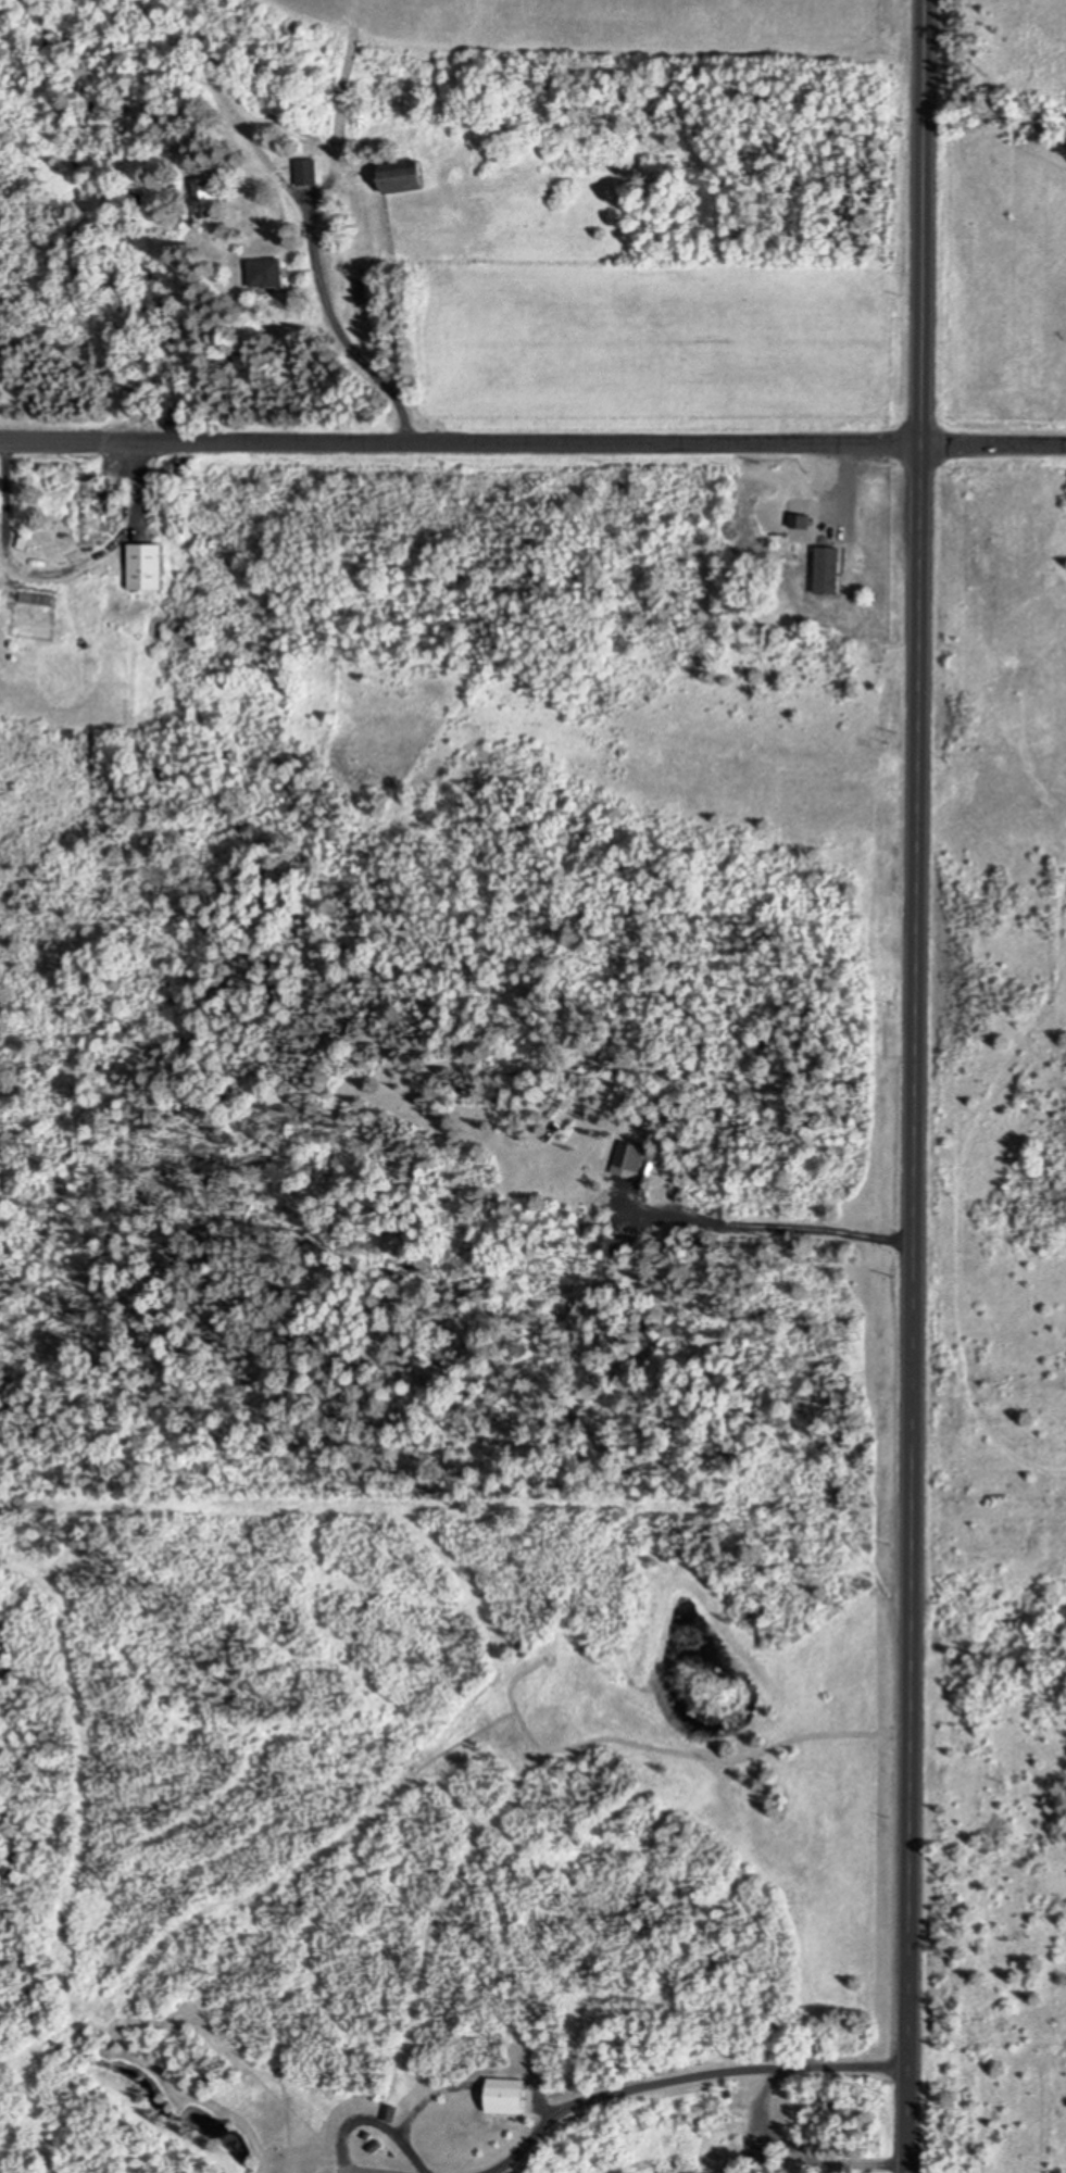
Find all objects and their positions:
building: (305, 172)
building: (402, 176)
building: (208, 199)
building: (265, 274)
road: (341, 338)
road: (460, 444)
road: (993, 447)
building: (22, 541)
building: (47, 542)
building: (145, 565)
building: (819, 565)
road: (60, 573)
building: (35, 598)
road: (914, 1085)
building: (504, 1096)
building: (628, 1156)
road: (774, 1228)
road: (680, 2078)
building: (506, 2093)
road: (391, 2137)
road: (797, 2152)
building: (764, 2153)
road: (343, 2160)

